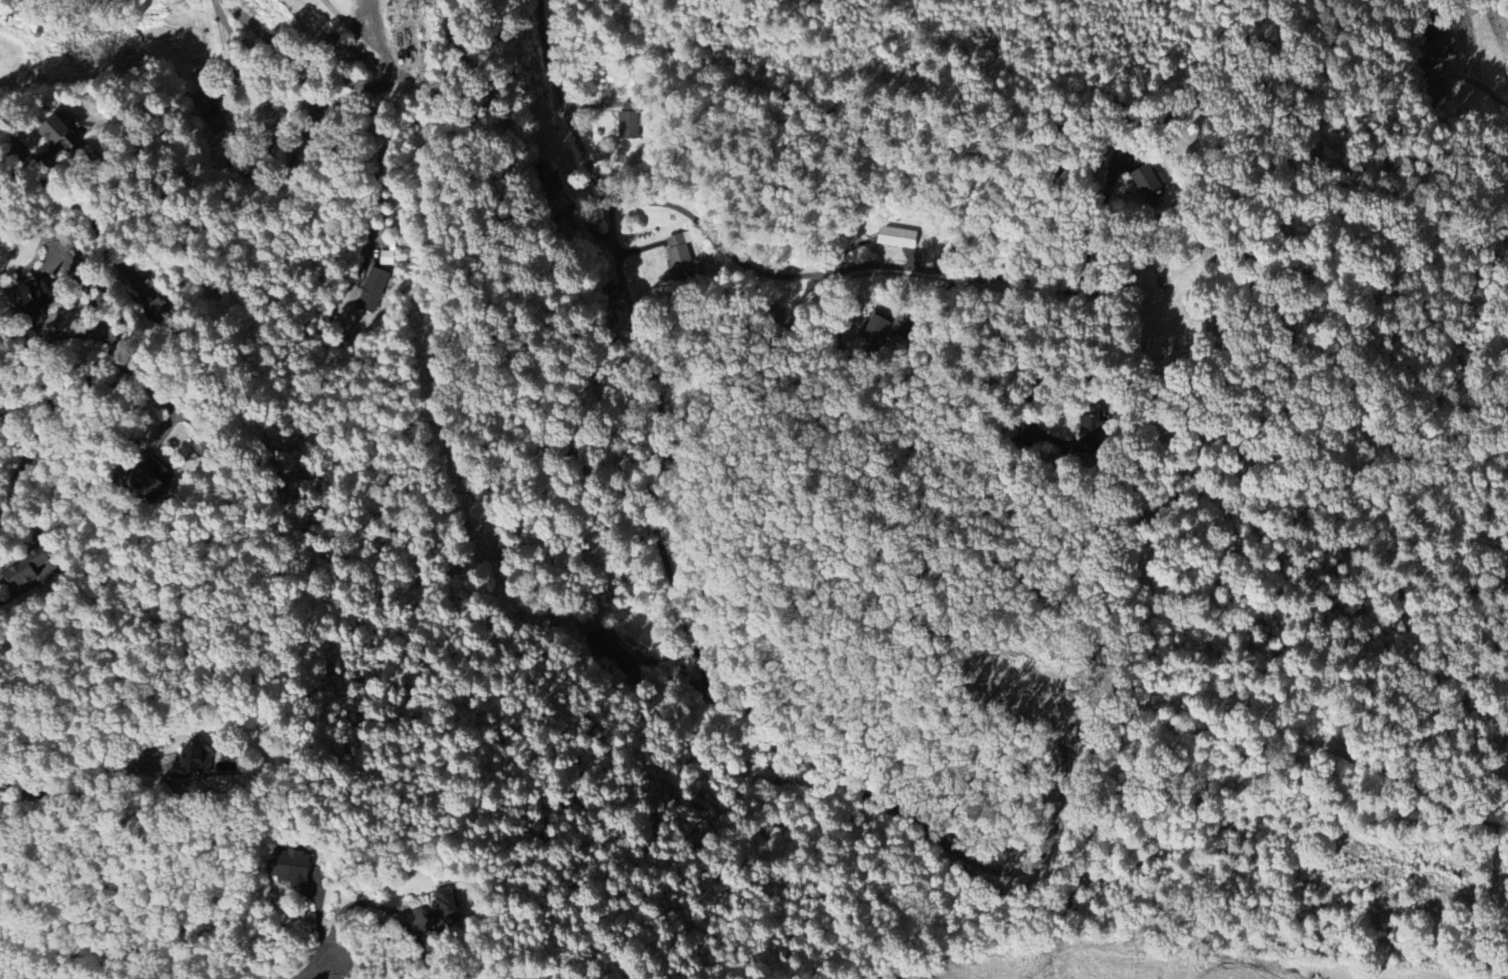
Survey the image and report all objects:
building: (1435, 48)
road: (347, 82)
road: (1479, 87)
road: (412, 117)
building: (59, 133)
building: (547, 180)
building: (1150, 184)
road: (69, 201)
building: (897, 237)
building: (678, 258)
road: (739, 259)
road: (626, 280)
building: (372, 290)
building: (610, 294)
building: (35, 301)
building: (158, 307)
building: (876, 330)
road: (106, 381)
building: (1089, 429)
road: (25, 471)
building: (153, 478)
road: (650, 478)
building: (25, 569)
road: (26, 586)
building: (613, 651)
road: (696, 688)
road: (721, 704)
building: (193, 761)
building: (759, 774)
road: (77, 785)
building: (292, 867)
road: (377, 904)
building: (444, 909)
road: (317, 971)
road: (429, 977)
road: (431, 977)

